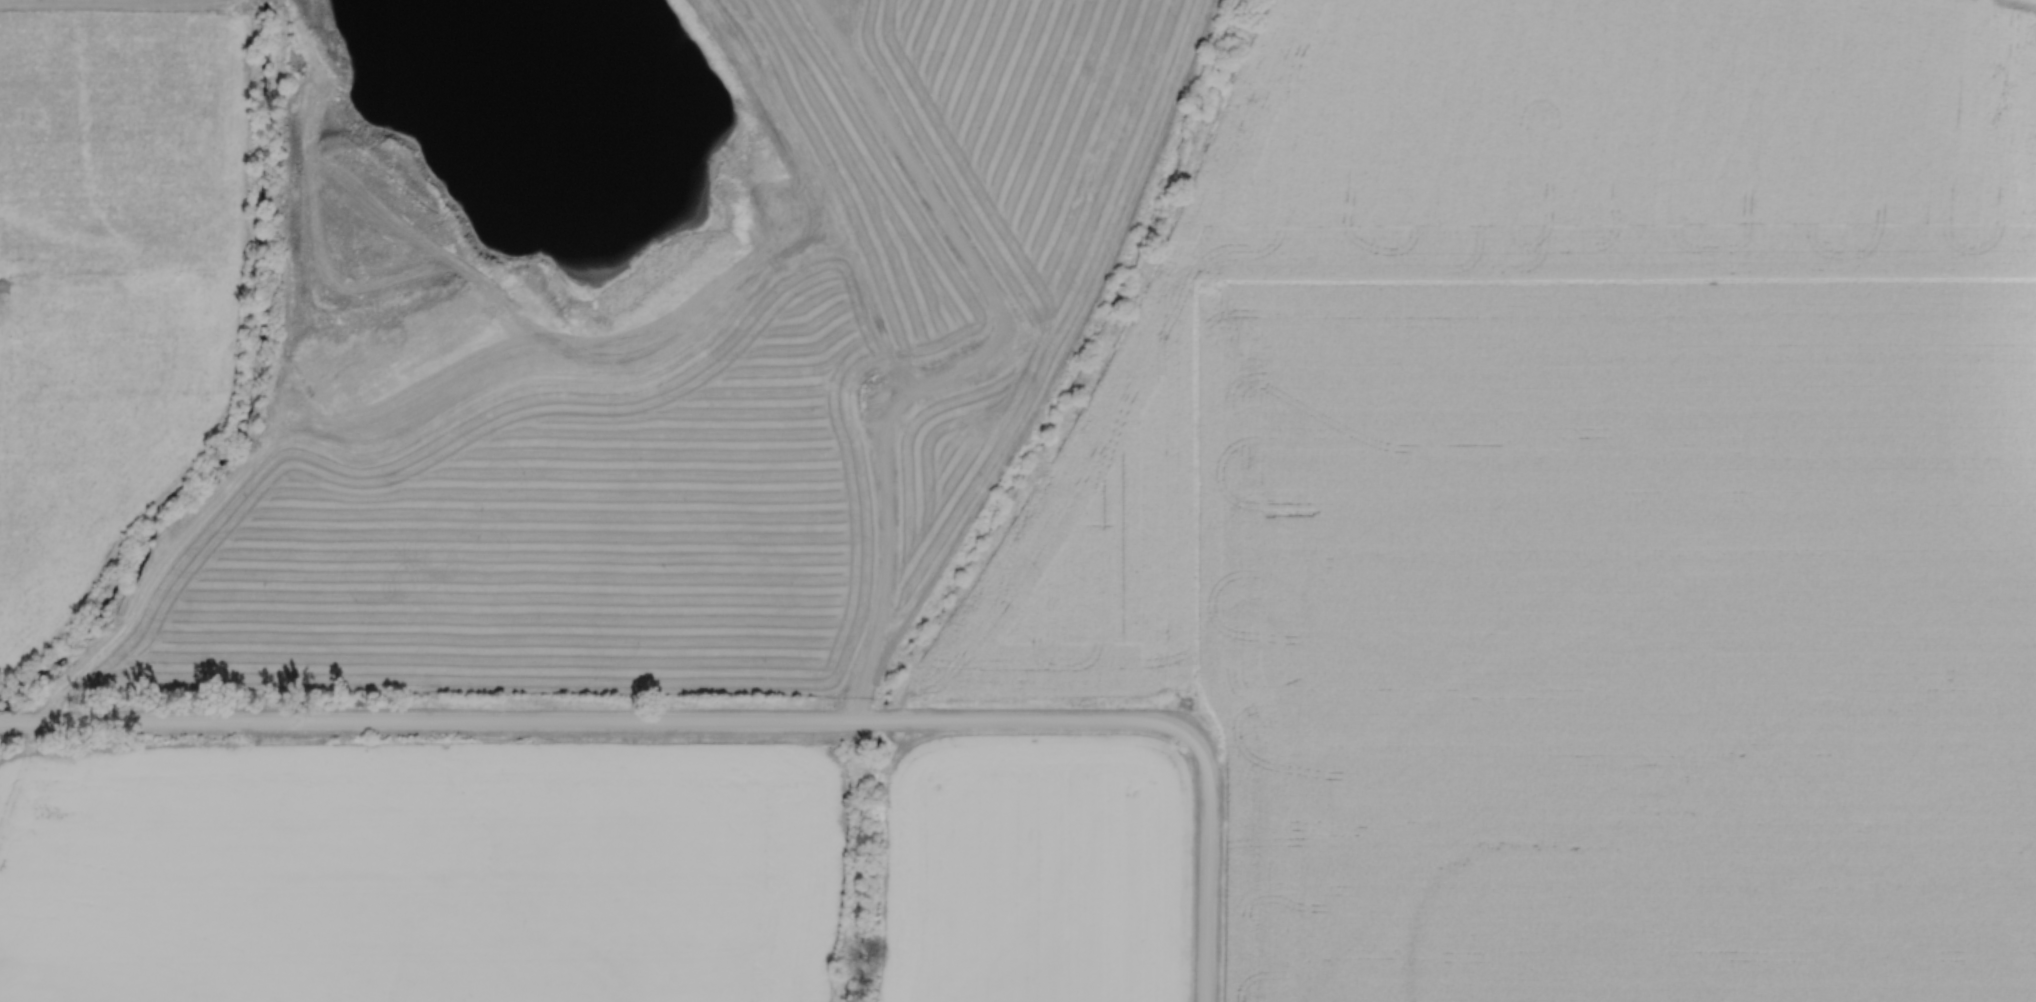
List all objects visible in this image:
road: (733, 722)

